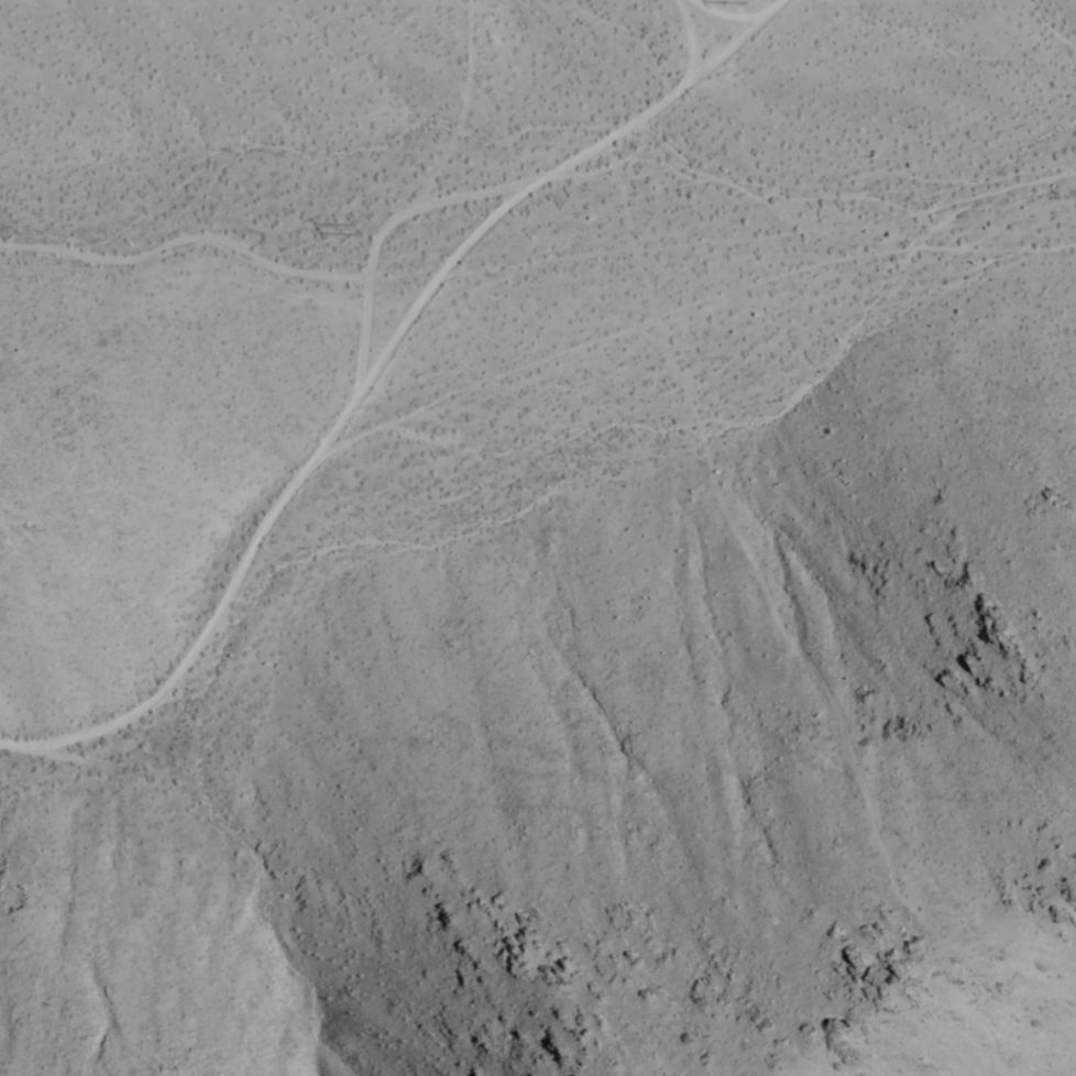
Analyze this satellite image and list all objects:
road: (782, 8)
road: (734, 15)
road: (699, 42)
road: (735, 51)
road: (622, 141)
power tower: (356, 229)
road: (393, 233)
road: (447, 279)
road: (223, 624)

